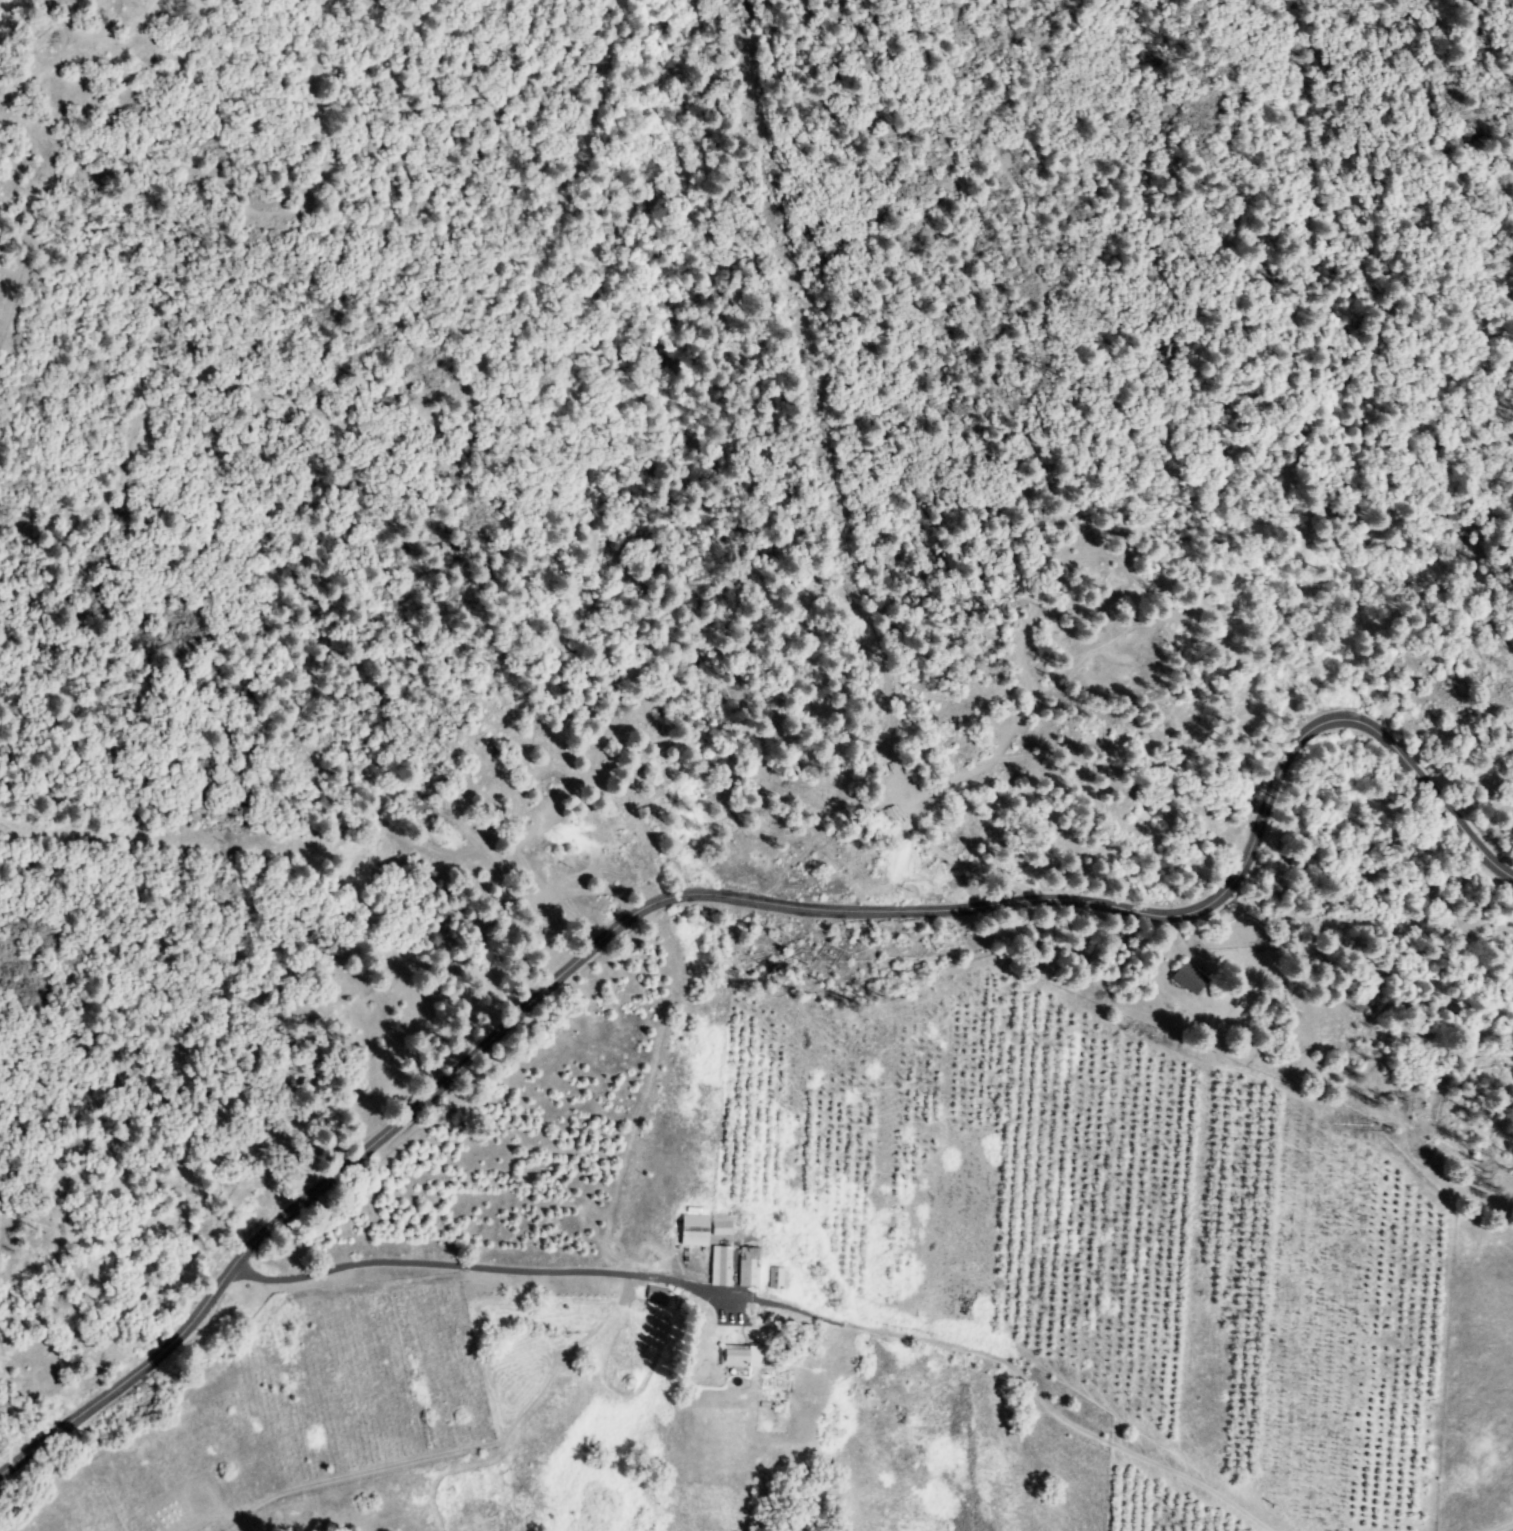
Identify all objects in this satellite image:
road: (731, 904)
building: (1190, 979)
building: (722, 1226)
building: (696, 1230)
road: (392, 1266)
building: (723, 1266)
building: (750, 1267)
building: (778, 1278)
building: (658, 1295)
road: (969, 1340)
building: (742, 1357)
storage tank: (630, 1382)
road: (1503, 1527)

